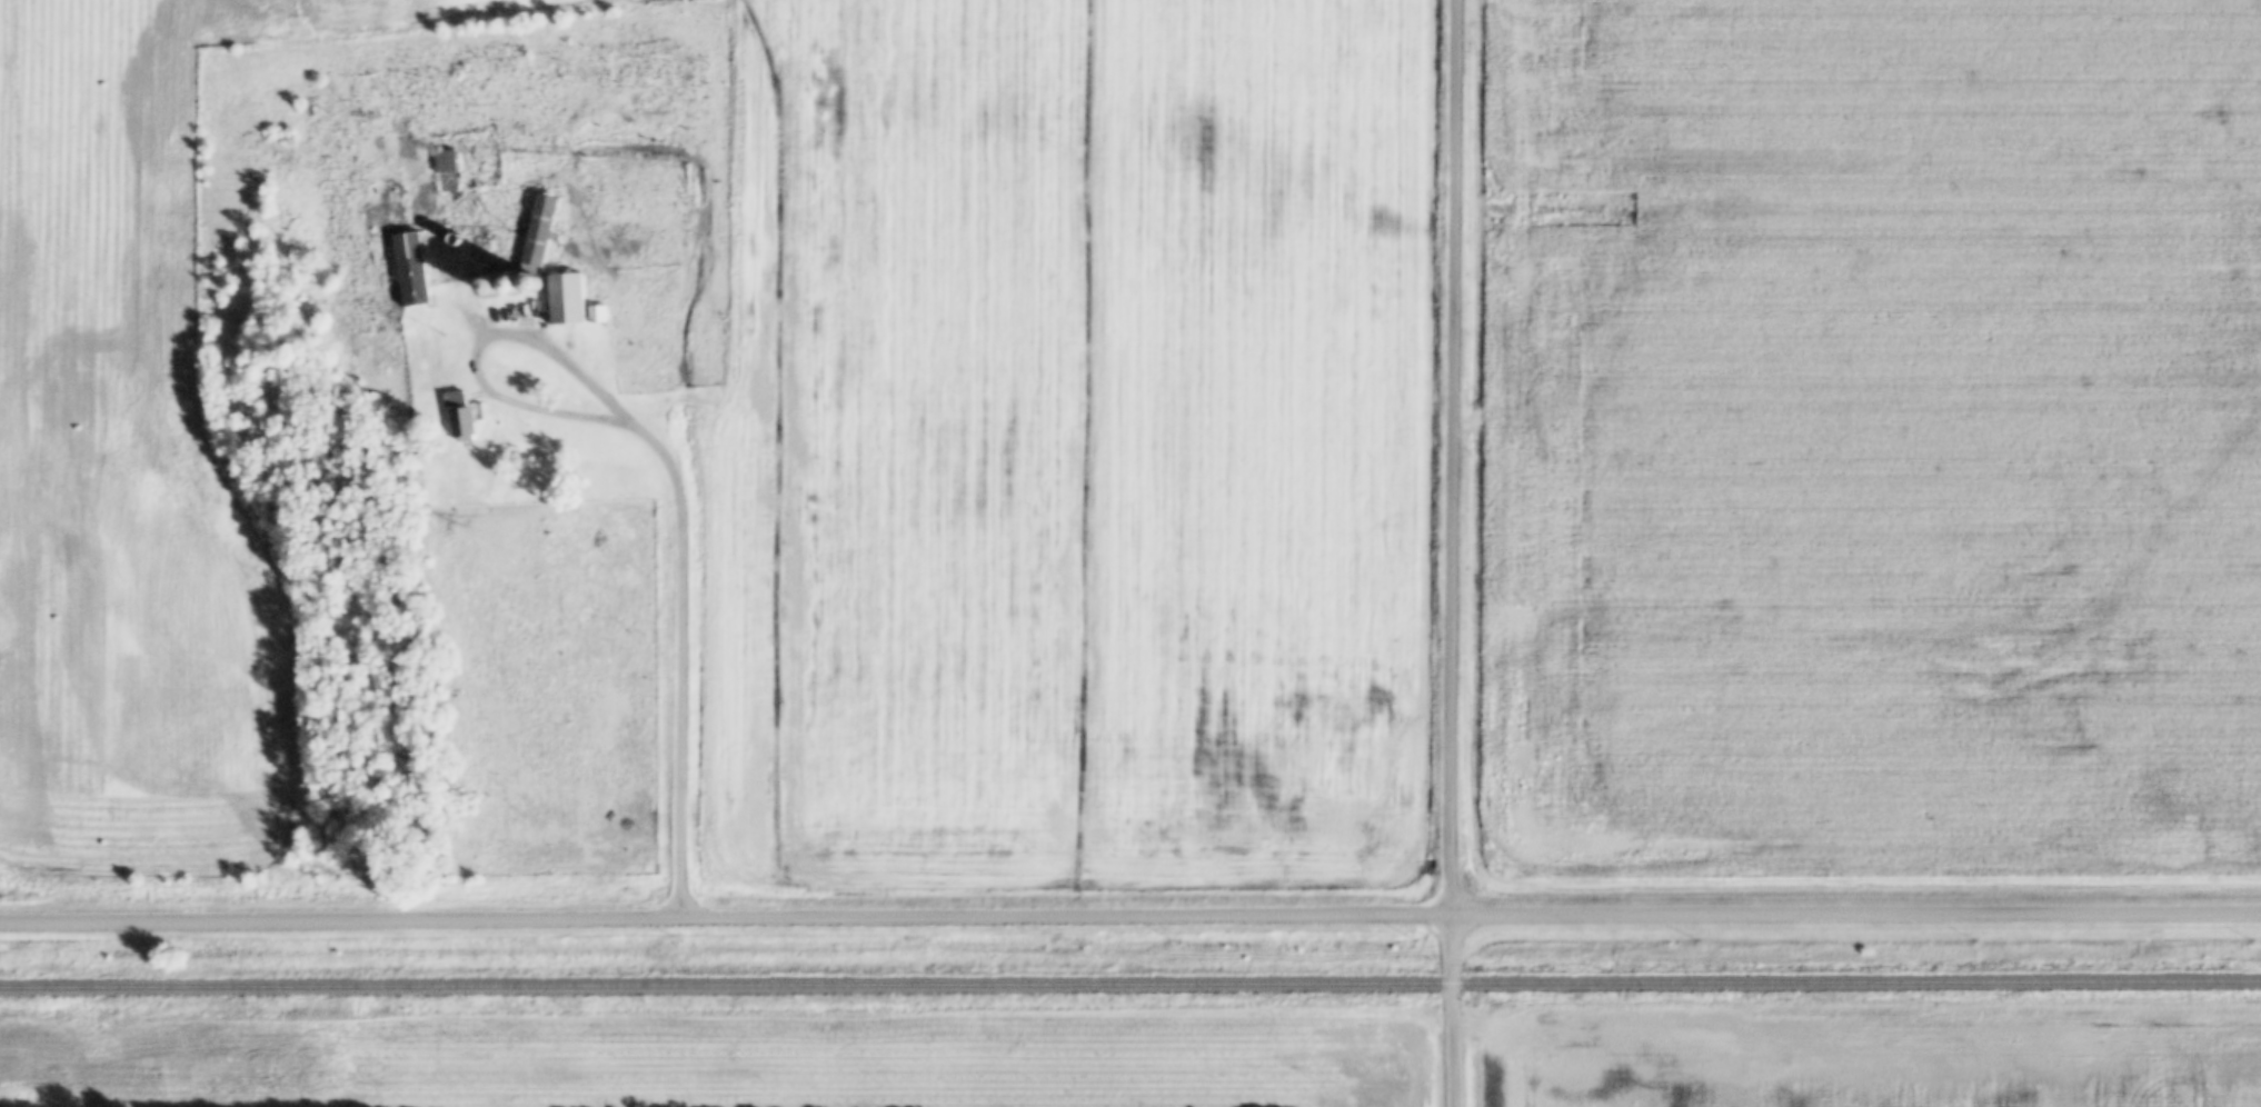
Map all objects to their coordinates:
building: (446, 172)
building: (537, 235)
building: (411, 270)
building: (565, 300)
building: (460, 419)
road: (1457, 553)
road: (686, 567)
road: (1130, 917)
railway: (1129, 986)

